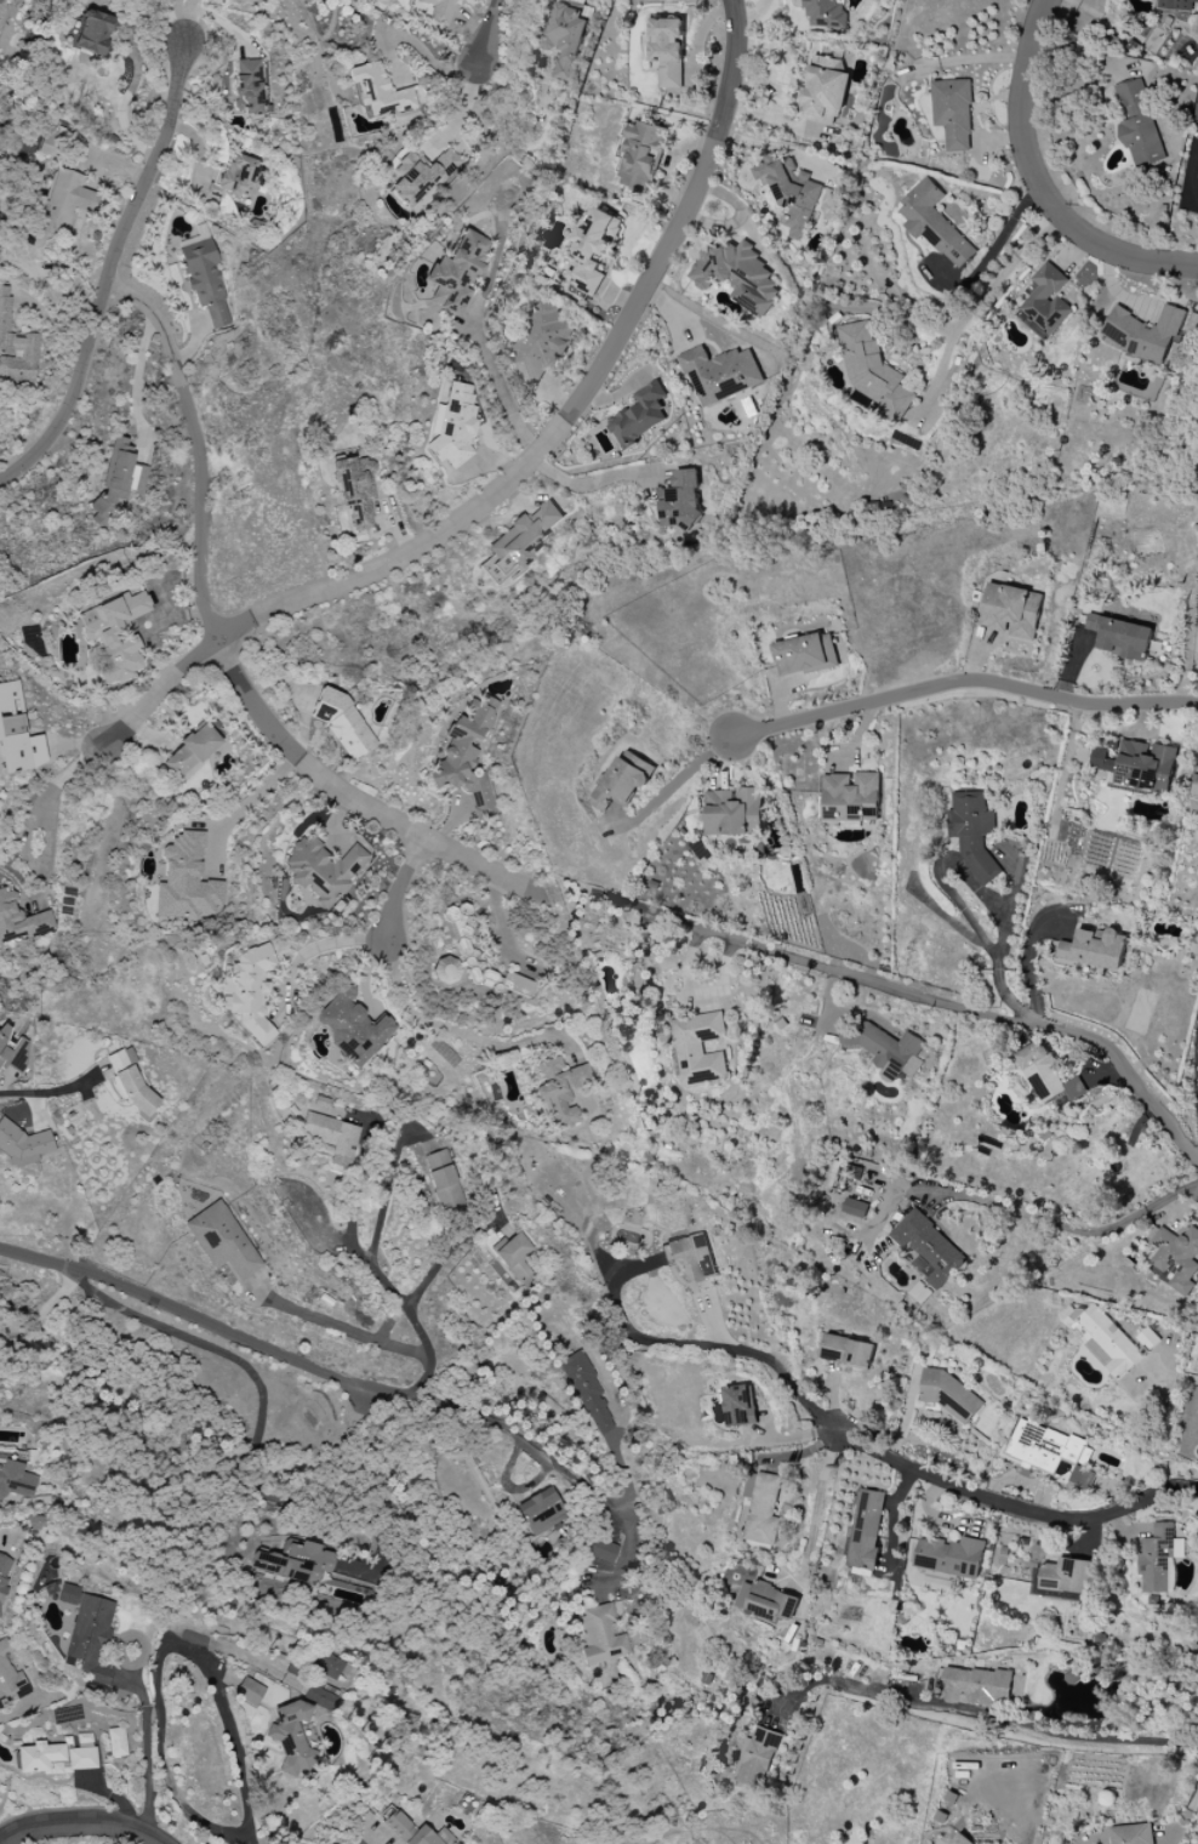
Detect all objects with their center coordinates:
building: (1176, 5)
building: (438, 10)
building: (825, 13)
road: (181, 21)
road: (489, 32)
building: (91, 33)
building: (564, 36)
building: (664, 49)
building: (247, 86)
building: (825, 90)
building: (377, 91)
building: (953, 113)
building: (1196, 113)
building: (1139, 126)
building: (49, 141)
building: (643, 155)
road: (1192, 175)
building: (421, 176)
building: (235, 178)
road: (1037, 184)
building: (791, 192)
building: (64, 203)
building: (934, 223)
building: (592, 250)
road: (108, 272)
building: (456, 273)
building: (737, 274)
building: (204, 277)
road: (980, 286)
building: (1046, 302)
road: (155, 319)
building: (1143, 332)
building: (542, 340)
road: (190, 343)
building: (16, 347)
building: (720, 374)
building: (872, 374)
road: (137, 380)
road: (179, 382)
road: (500, 385)
road: (577, 402)
building: (640, 415)
building: (453, 426)
building: (116, 483)
road: (591, 483)
building: (356, 490)
building: (680, 501)
road: (201, 514)
building: (521, 541)
building: (1011, 610)
building: (115, 636)
building: (1120, 637)
building: (805, 655)
road: (963, 682)
road: (159, 694)
building: (342, 723)
building: (17, 734)
building: (192, 752)
building: (468, 755)
road: (296, 761)
building: (1136, 767)
road: (65, 776)
building: (622, 780)
road: (679, 781)
building: (850, 797)
road: (246, 808)
building: (734, 812)
building: (972, 831)
road: (34, 863)
road: (481, 869)
building: (323, 870)
building: (186, 881)
road: (401, 888)
building: (19, 920)
road: (1002, 940)
road: (319, 946)
building: (1094, 949)
building: (526, 989)
building: (251, 992)
road: (922, 998)
building: (352, 1026)
road: (455, 1032)
building: (698, 1048)
building: (12, 1051)
building: (886, 1051)
building: (1046, 1075)
building: (131, 1081)
building: (560, 1088)
road: (50, 1093)
road: (1067, 1100)
building: (330, 1137)
building: (22, 1144)
building: (443, 1179)
road: (390, 1182)
road: (352, 1191)
building: (855, 1207)
road: (1071, 1228)
building: (222, 1241)
building: (929, 1248)
building: (691, 1256)
building: (1175, 1256)
building: (514, 1257)
road: (444, 1260)
road: (46, 1310)
road: (193, 1316)
road: (353, 1330)
road: (639, 1332)
road: (420, 1333)
building: (1147, 1338)
building: (1105, 1339)
building: (846, 1351)
road: (777, 1366)
road: (1176, 1373)
building: (587, 1395)
building: (949, 1395)
building: (740, 1405)
road: (259, 1422)
building: (1046, 1449)
road: (538, 1451)
building: (15, 1480)
road: (1012, 1504)
road: (818, 1506)
building: (761, 1508)
building: (540, 1512)
building: (34, 1523)
building: (866, 1530)
building: (601, 1552)
building: (1157, 1556)
building: (292, 1563)
building: (1063, 1578)
building: (1, 1586)
building: (68, 1594)
building: (766, 1601)
building: (599, 1635)
building: (90, 1637)
road: (160, 1652)
building: (331, 1668)
building: (10, 1678)
building: (977, 1685)
building: (249, 1692)
building: (320, 1696)
road: (25, 1708)
road: (1012, 1721)
building: (291, 1737)
building: (116, 1742)
road: (148, 1742)
building: (758, 1758)
building: (55, 1759)
road: (80, 1823)
building: (413, 1832)
building: (1131, 1834)
building: (960, 1839)
road: (252, 1842)

